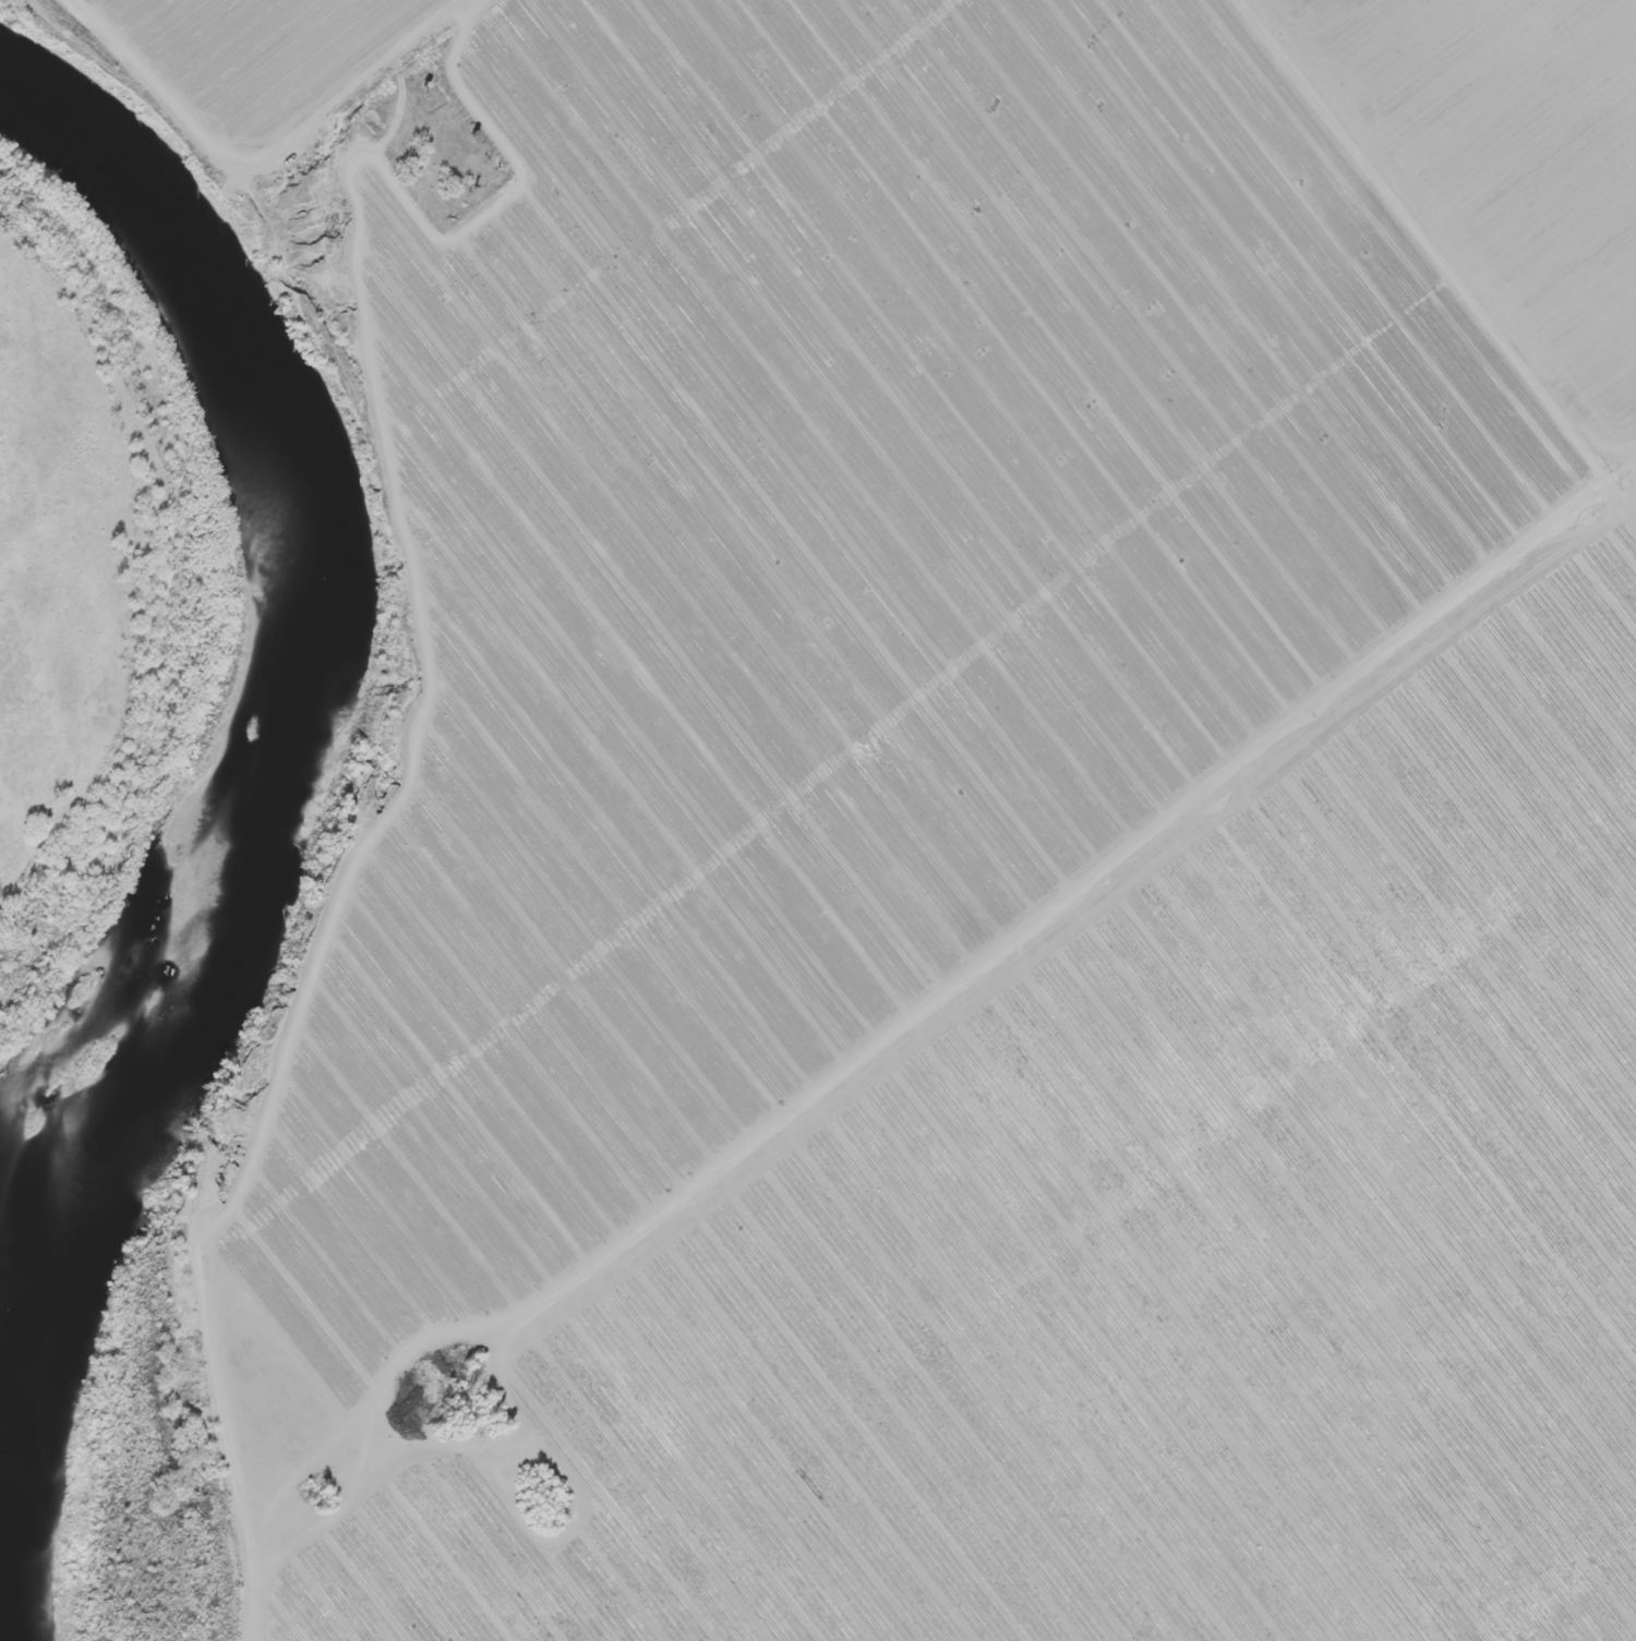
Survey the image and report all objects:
road: (354, 84)
road: (393, 761)
river: (177, 861)

